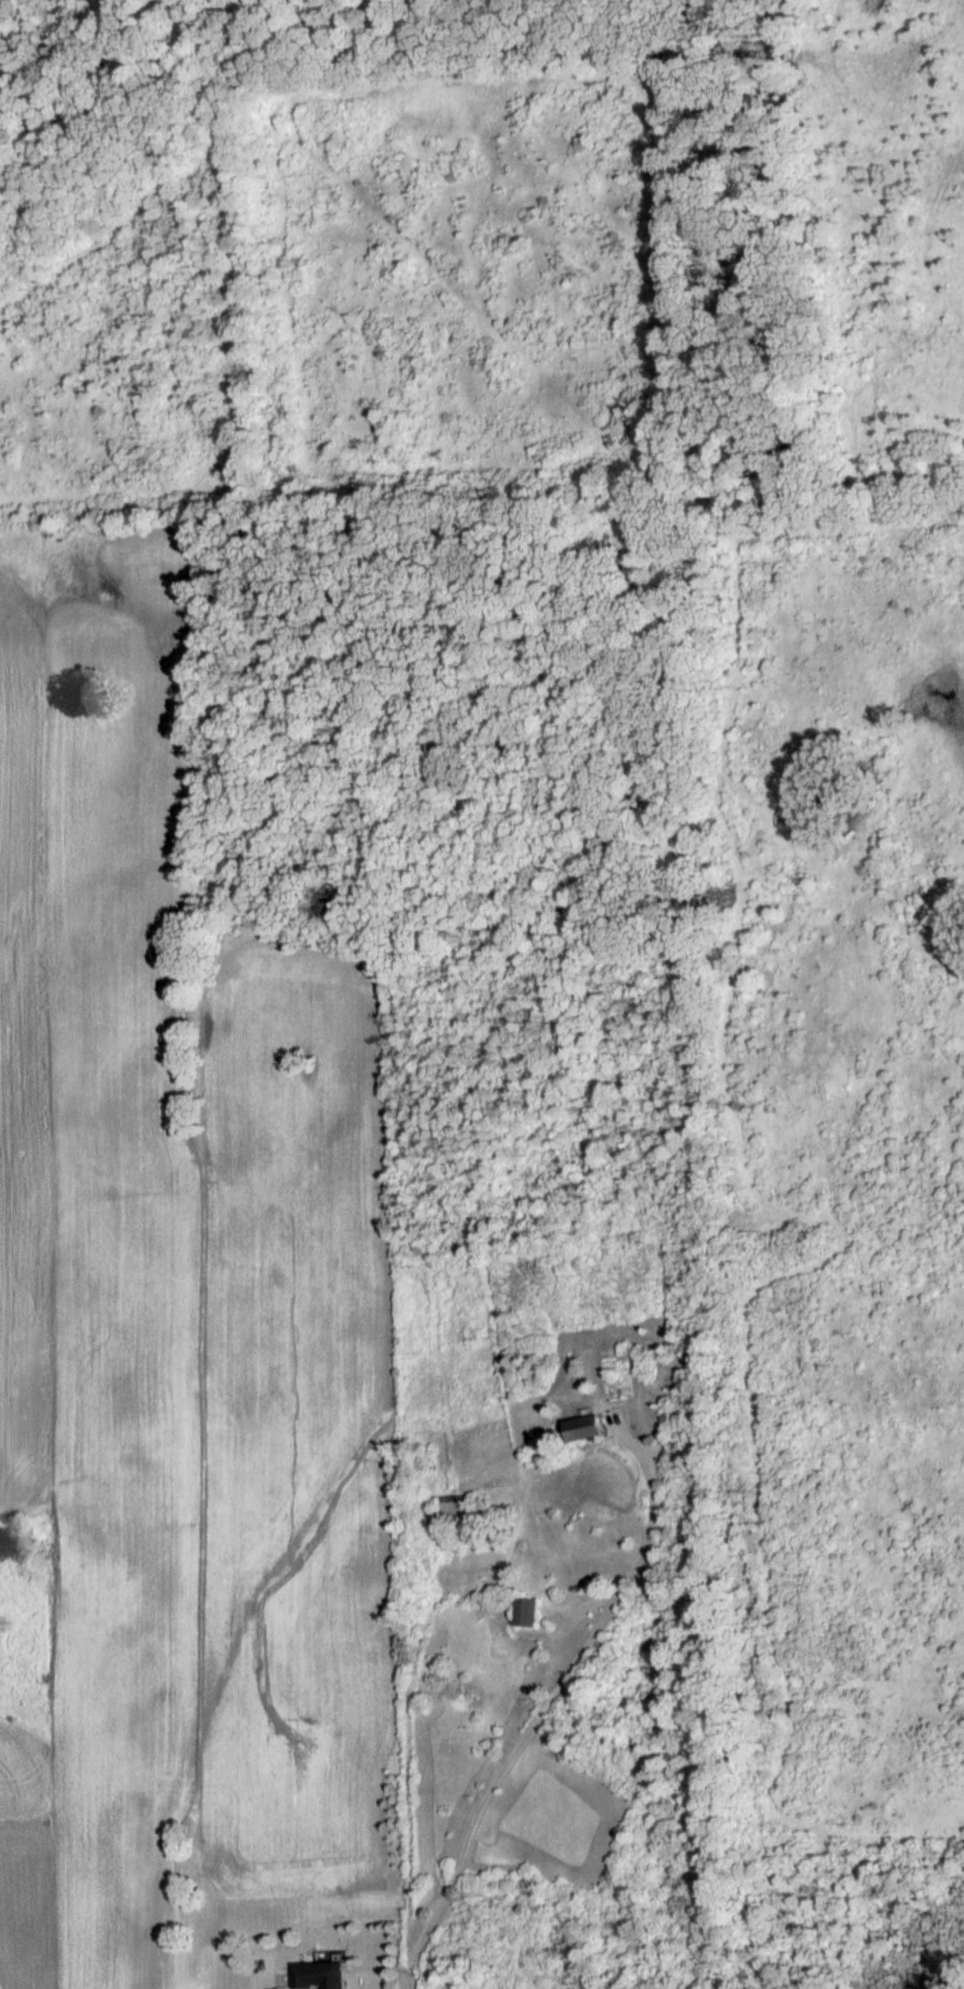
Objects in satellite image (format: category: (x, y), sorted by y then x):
building: (583, 1428)
building: (456, 1510)
building: (528, 1611)
road: (544, 1705)
building: (322, 1974)

